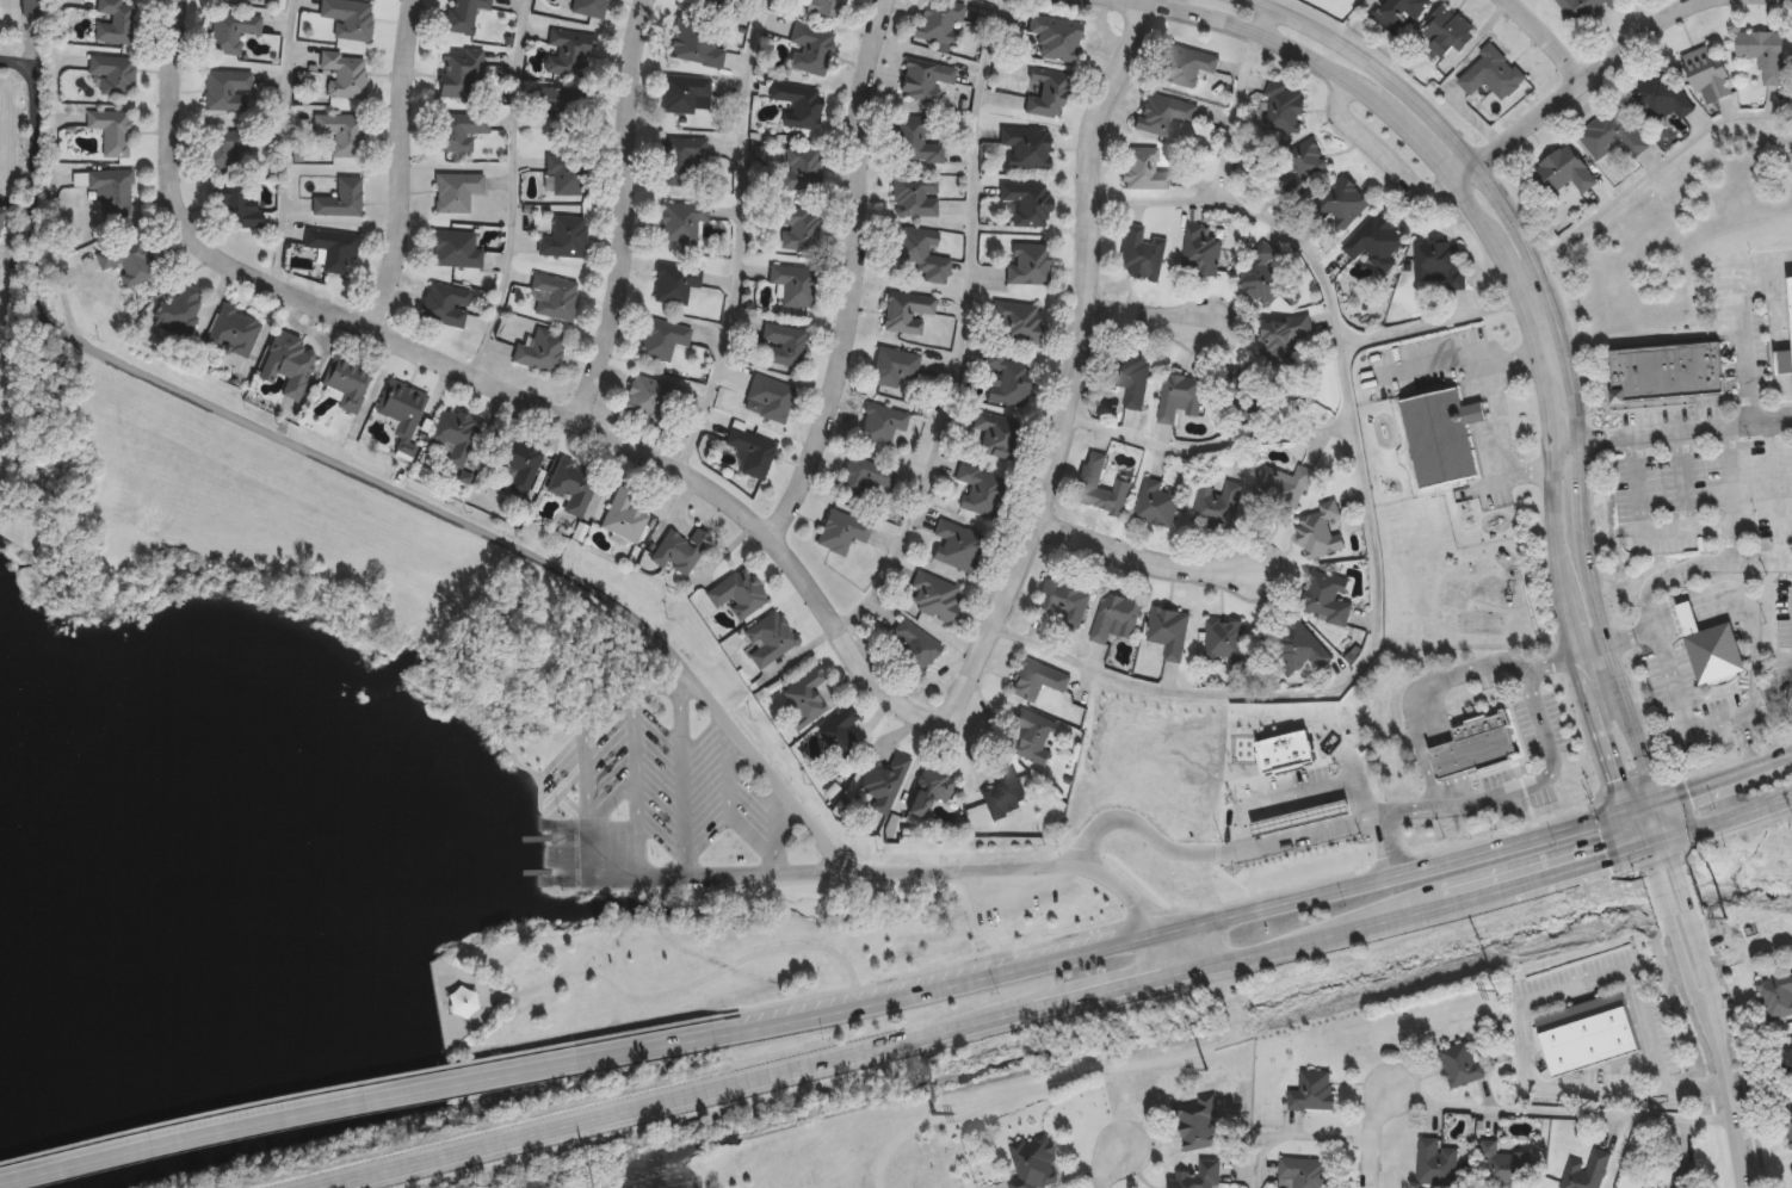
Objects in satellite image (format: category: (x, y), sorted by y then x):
building: (247, 0)
building: (715, 0)
building: (589, 8)
building: (826, 8)
building: (1404, 8)
building: (1586, 8)
building: (464, 14)
road: (1261, 16)
building: (350, 18)
building: (116, 21)
building: (938, 23)
building: (231, 32)
building: (1447, 32)
building: (1055, 37)
road: (1546, 37)
building: (696, 44)
building: (811, 50)
building: (568, 52)
building: (1765, 54)
building: (1186, 66)
building: (113, 73)
building: (462, 73)
building: (346, 74)
building: (1493, 74)
building: (1707, 74)
building: (925, 81)
road: (1571, 88)
building: (227, 91)
building: (687, 94)
building: (1045, 94)
building: (1660, 97)
building: (798, 103)
building: (560, 109)
building: (1285, 111)
building: (1164, 115)
road: (1230, 115)
building: (111, 131)
building: (461, 131)
building: (340, 132)
building: (1612, 134)
road: (285, 140)
building: (916, 140)
building: (222, 146)
building: (1027, 148)
road: (1382, 149)
road: (1432, 155)
building: (684, 161)
road: (400, 165)
building: (1303, 165)
building: (802, 168)
road: (1656, 168)
building: (1143, 169)
road: (50, 171)
building: (1564, 171)
building: (566, 174)
road: (33, 188)
building: (112, 191)
road: (515, 191)
building: (457, 192)
building: (915, 196)
building: (341, 199)
road: (17, 203)
building: (1027, 203)
building: (1345, 203)
road: (1515, 203)
building: (236, 205)
building: (0, 210)
road: (626, 215)
building: (681, 222)
building: (799, 228)
building: (564, 239)
road: (734, 239)
building: (1376, 242)
building: (332, 247)
building: (456, 249)
building: (1142, 253)
building: (923, 254)
building: (1201, 255)
building: (128, 260)
building: (1438, 262)
building: (1028, 264)
road: (1522, 270)
road: (853, 274)
building: (1263, 276)
building: (675, 283)
building: (793, 284)
building: (1790, 296)
building: (555, 297)
building: (445, 304)
building: (179, 311)
building: (907, 311)
road: (1750, 316)
road: (1145, 317)
building: (1017, 321)
road: (1430, 322)
road: (964, 327)
building: (234, 332)
building: (1286, 333)
building: (663, 339)
building: (784, 344)
building: (540, 351)
road: (1567, 357)
building: (289, 363)
building: (1784, 363)
building: (894, 366)
building: (1666, 370)
road: (1075, 372)
building: (1127, 375)
building: (1008, 379)
building: (347, 380)
road: (488, 383)
building: (1180, 396)
building: (647, 397)
building: (772, 397)
building: (1249, 400)
building: (402, 407)
road: (1494, 419)
building: (882, 423)
road: (1685, 429)
building: (455, 433)
building: (1441, 435)
building: (997, 438)
road: (1205, 451)
building: (752, 452)
building: (518, 462)
road: (1565, 464)
building: (864, 476)
road: (1728, 477)
road: (1682, 481)
building: (1090, 482)
road: (1496, 482)
building: (573, 484)
building: (1284, 485)
building: (980, 489)
road: (1773, 494)
building: (1158, 503)
building: (1217, 506)
building: (624, 516)
building: (842, 531)
building: (1320, 531)
road: (1358, 532)
road: (1654, 532)
building: (957, 545)
building: (679, 550)
road: (1595, 552)
road: (1143, 556)
road: (591, 586)
building: (739, 593)
building: (935, 595)
building: (1327, 599)
building: (1064, 601)
road: (1747, 605)
building: (1116, 618)
building: (1169, 632)
building: (770, 638)
building: (1226, 642)
building: (1299, 649)
building: (1710, 649)
road: (1582, 658)
road: (1504, 662)
building: (1038, 679)
building: (805, 697)
road: (1689, 722)
building: (839, 732)
building: (1037, 735)
road: (582, 741)
building: (1471, 744)
gas station: (1285, 749)
road: (685, 773)
road: (1547, 776)
road: (1723, 776)
building: (885, 781)
road: (636, 782)
parking lot: (686, 786)
building: (929, 788)
building: (1003, 792)
road: (611, 797)
traffic signals: (1655, 798)
traffic signals: (1631, 806)
road: (731, 809)
road: (1374, 810)
building: (1297, 815)
road: (1730, 816)
road: (564, 821)
road: (778, 824)
pier: (534, 836)
traffic signals: (1668, 840)
road: (1656, 843)
traffic signals: (1644, 847)
road: (1204, 850)
road: (593, 852)
road: (1403, 856)
road: (1438, 862)
road: (1577, 867)
pier: (534, 871)
road: (743, 871)
road: (662, 881)
park: (663, 883)
road: (1132, 896)
road: (1476, 896)
road: (645, 904)
power tower: (1726, 922)
road: (1304, 940)
road: (1750, 953)
road: (592, 967)
road: (994, 972)
road: (558, 974)
road: (853, 976)
road: (1100, 990)
power tower: (1497, 992)
building: (1778, 997)
road: (797, 1000)
building: (463, 1004)
road: (1533, 1007)
road: (1722, 1011)
road: (1700, 1014)
road: (931, 1033)
building: (1588, 1035)
building: (1786, 1060)
building: (1464, 1066)
power tower: (1207, 1072)
road: (366, 1081)
road: (1728, 1081)
road: (1693, 1088)
building: (1311, 1090)
road: (382, 1096)
road: (644, 1103)
road: (1557, 1109)
power tower: (934, 1115)
building: (1195, 1122)
building: (1790, 1127)
road: (1374, 1136)
road: (1292, 1139)
building: (1435, 1163)
building: (1031, 1164)
road: (1107, 1168)
building: (1507, 1168)
road: (385, 1169)
building: (1586, 1170)
building: (1300, 1172)
building: (1197, 1176)
building: (1683, 1177)

